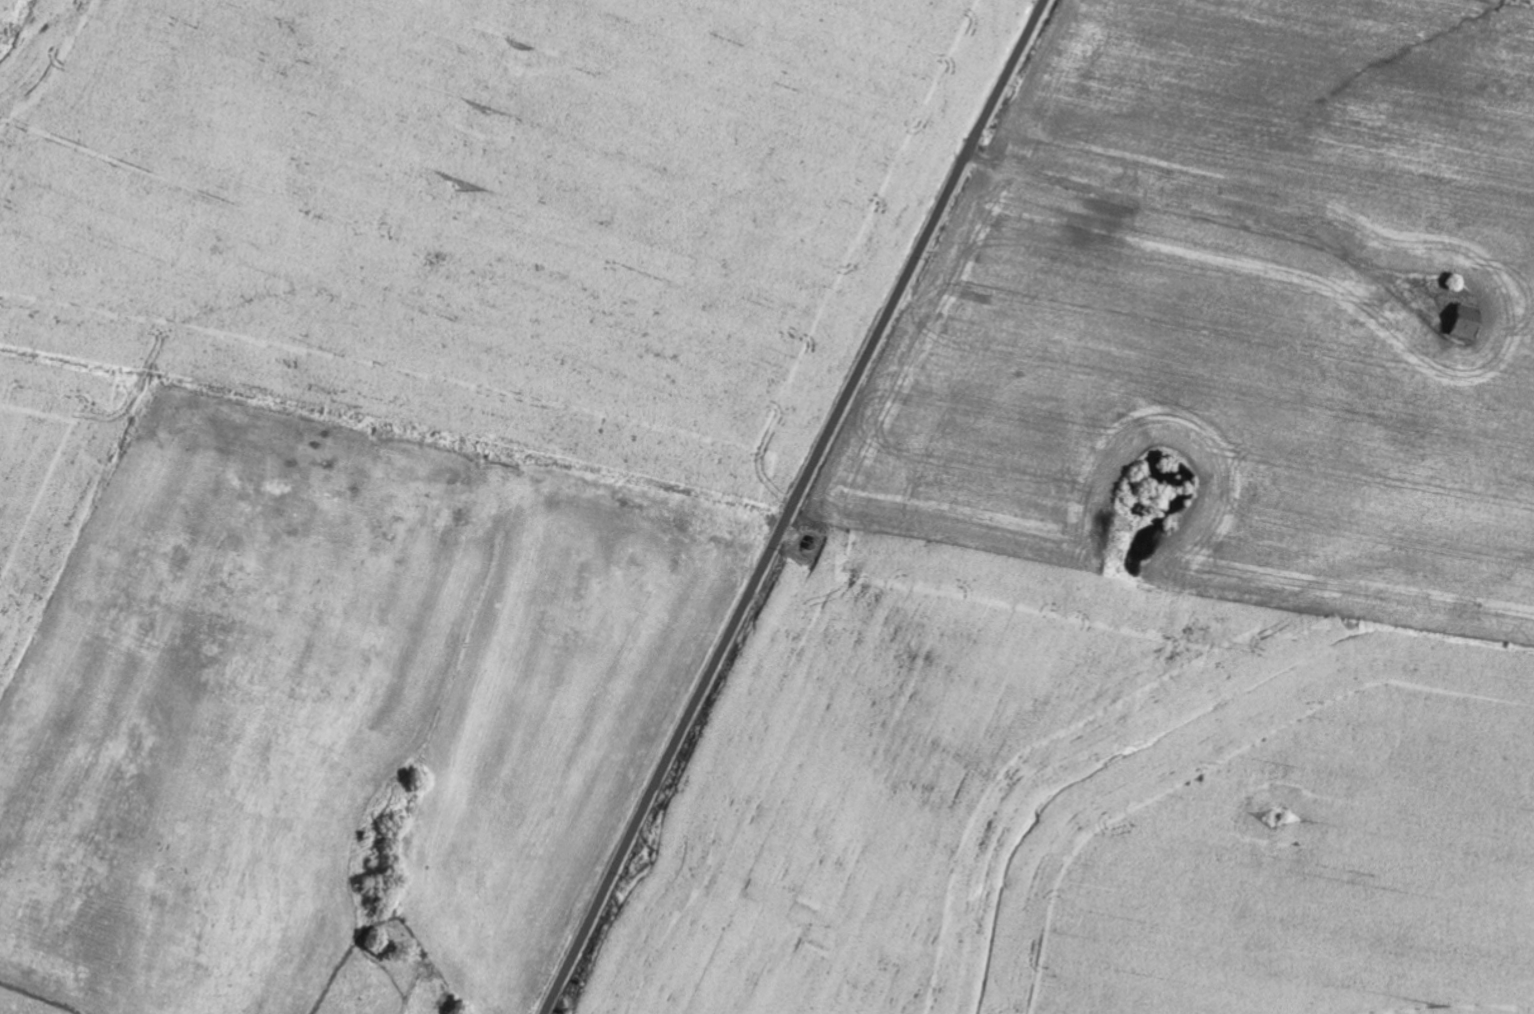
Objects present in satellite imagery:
building: (1469, 323)
road: (794, 506)

